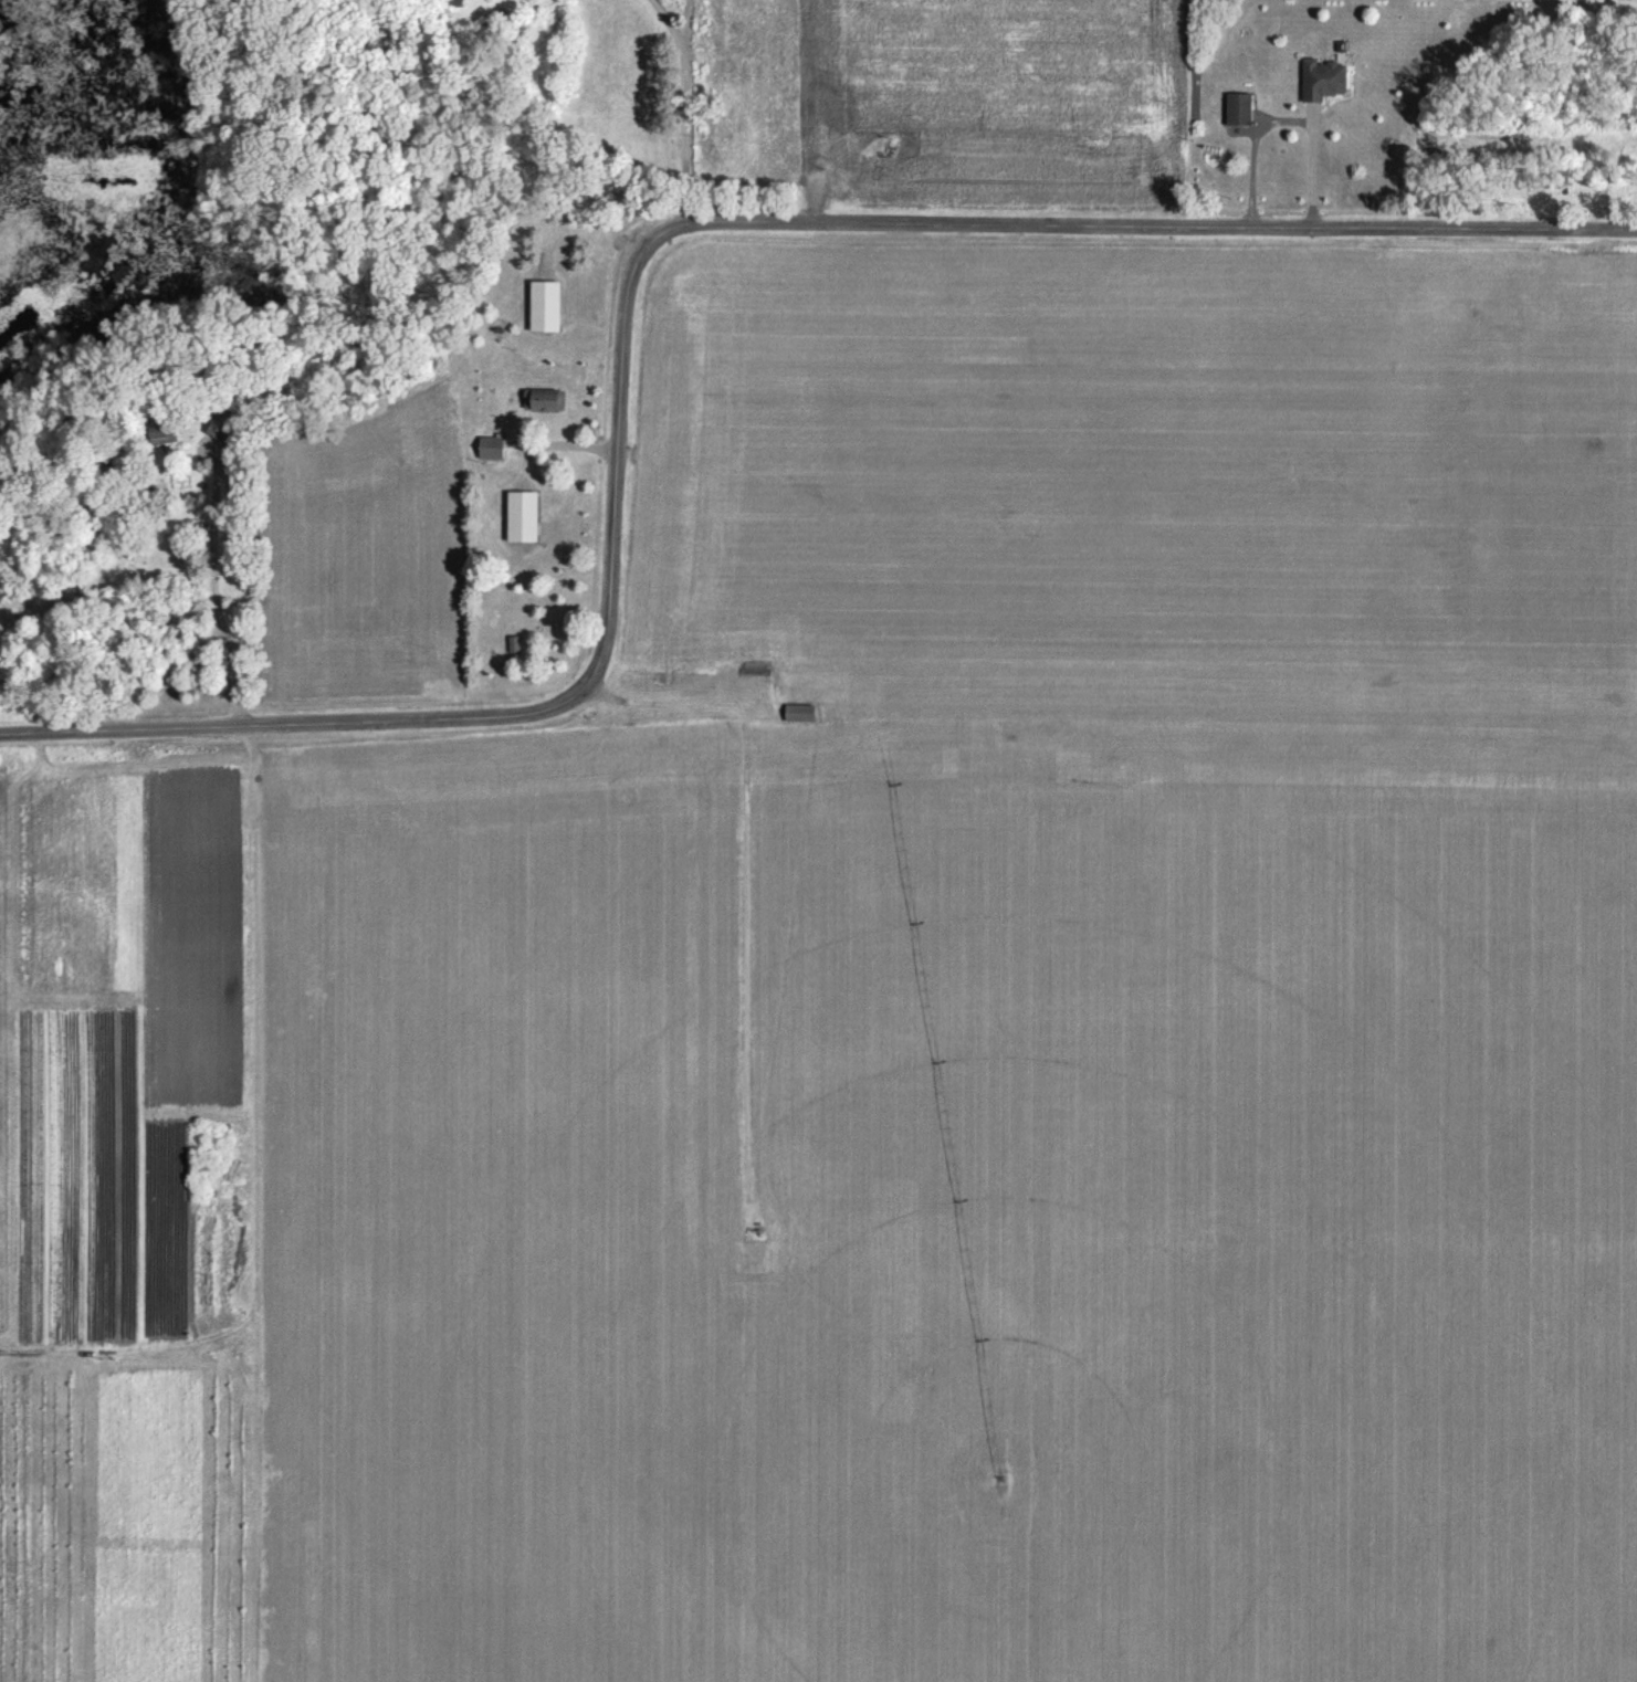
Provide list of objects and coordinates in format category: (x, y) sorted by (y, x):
building: (1320, 78)
road: (686, 107)
building: (1237, 108)
road: (1291, 123)
road: (634, 264)
building: (543, 304)
building: (538, 399)
building: (221, 423)
building: (159, 428)
building: (490, 445)
building: (521, 515)
road: (217, 595)
building: (513, 643)
building: (753, 666)
building: (797, 711)

